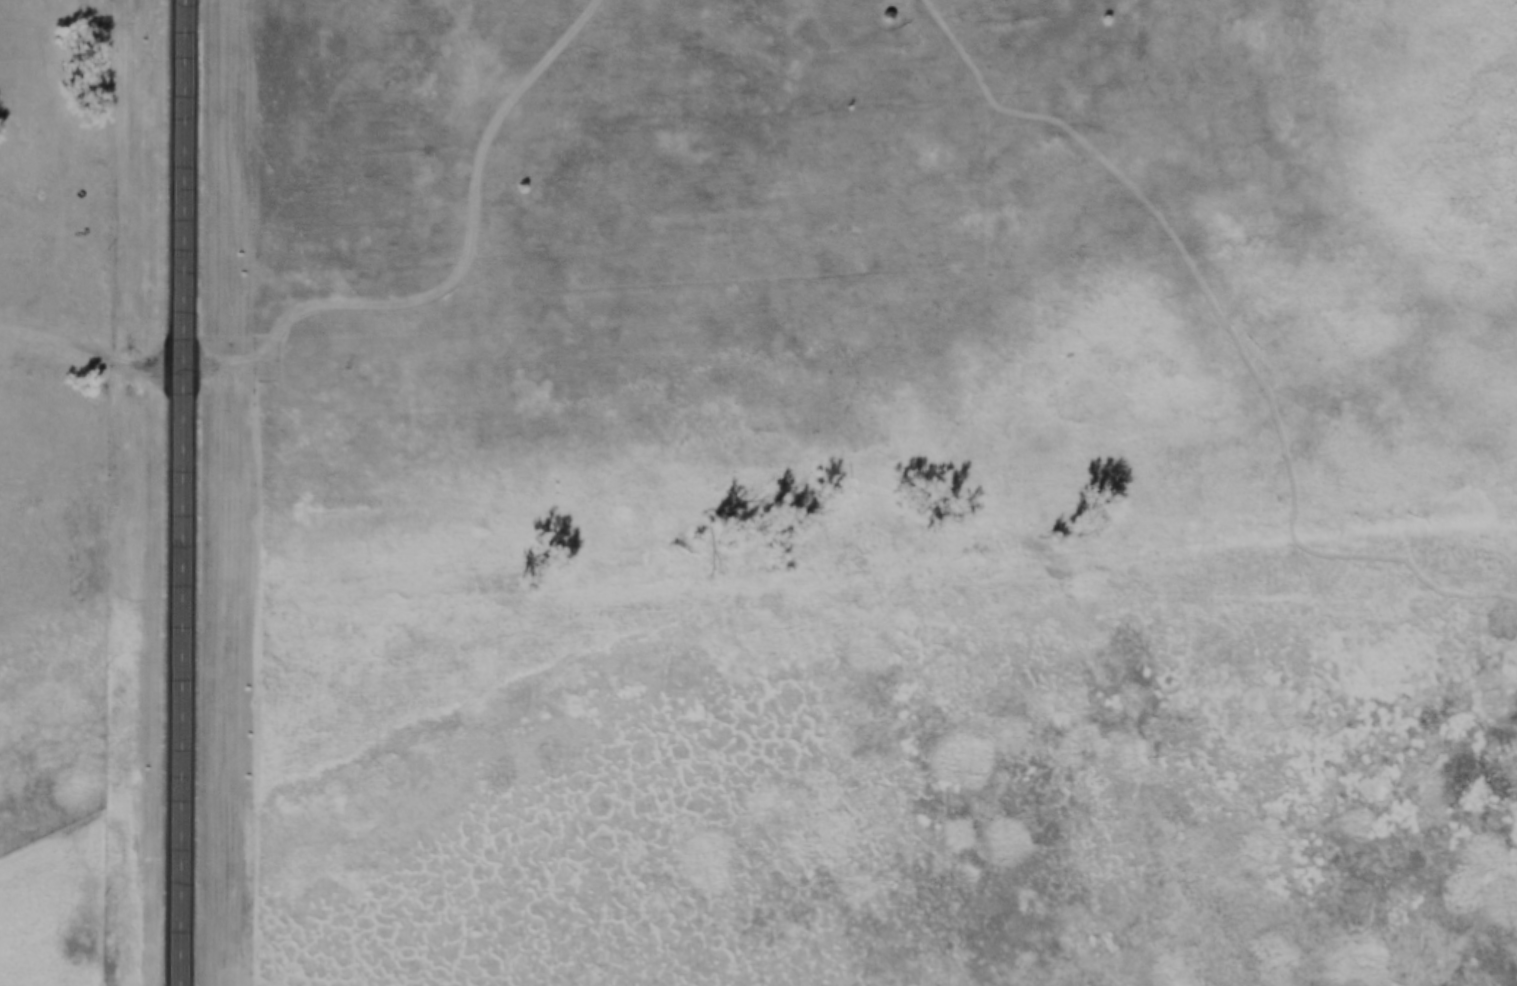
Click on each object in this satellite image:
road: (184, 492)

